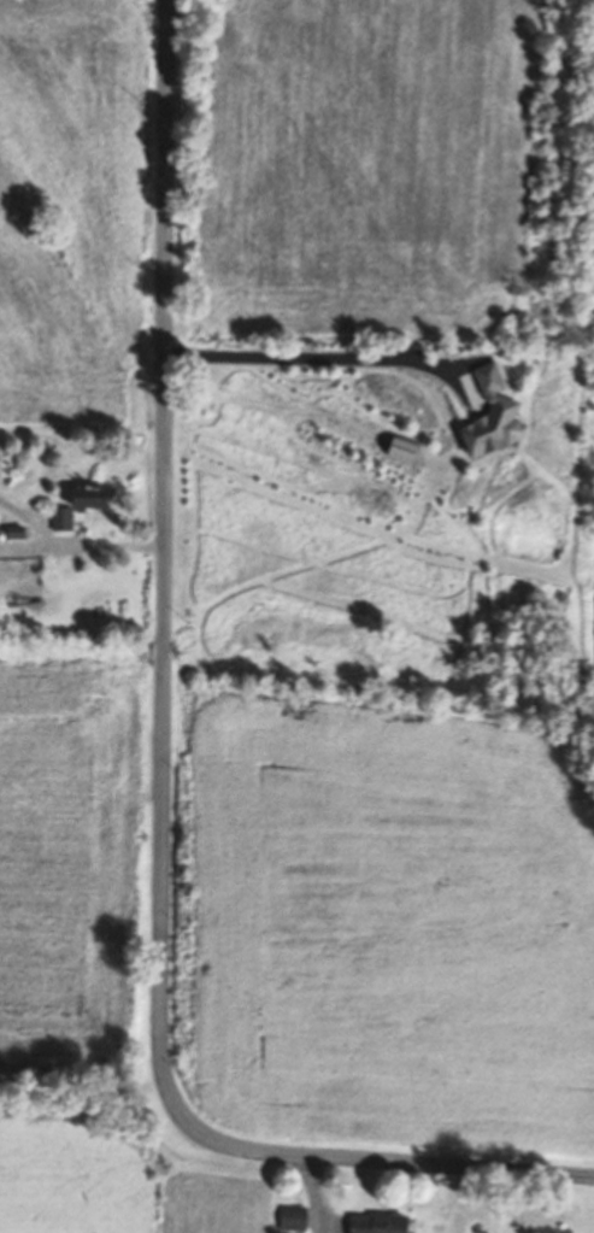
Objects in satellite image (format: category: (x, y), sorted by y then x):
road: (317, 358)
building: (498, 415)
building: (94, 495)
building: (63, 516)
building: (17, 529)
road: (72, 545)
road: (158, 773)
road: (313, 1192)
building: (295, 1214)
building: (382, 1222)

